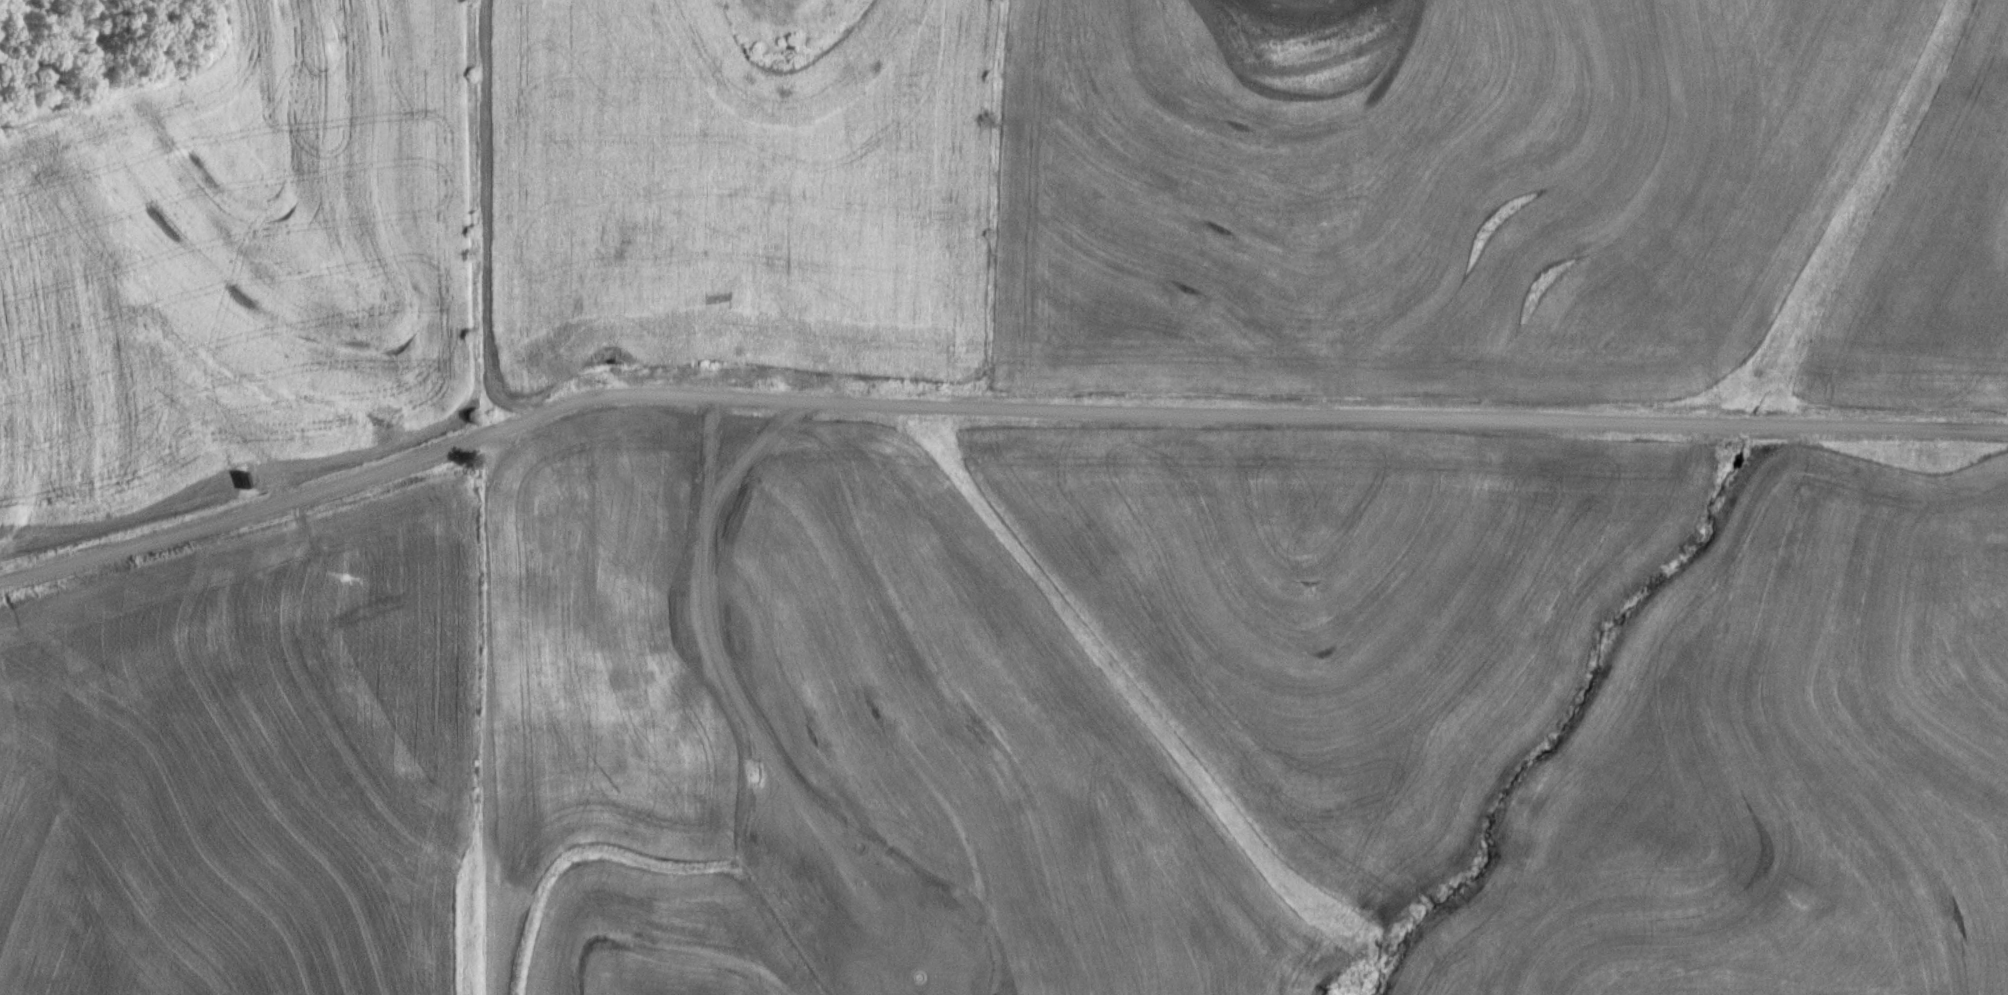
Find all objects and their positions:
building: (756, 217)
building: (667, 234)
road: (583, 318)
road: (990, 410)
building: (645, 635)
wind turbine: (924, 978)

